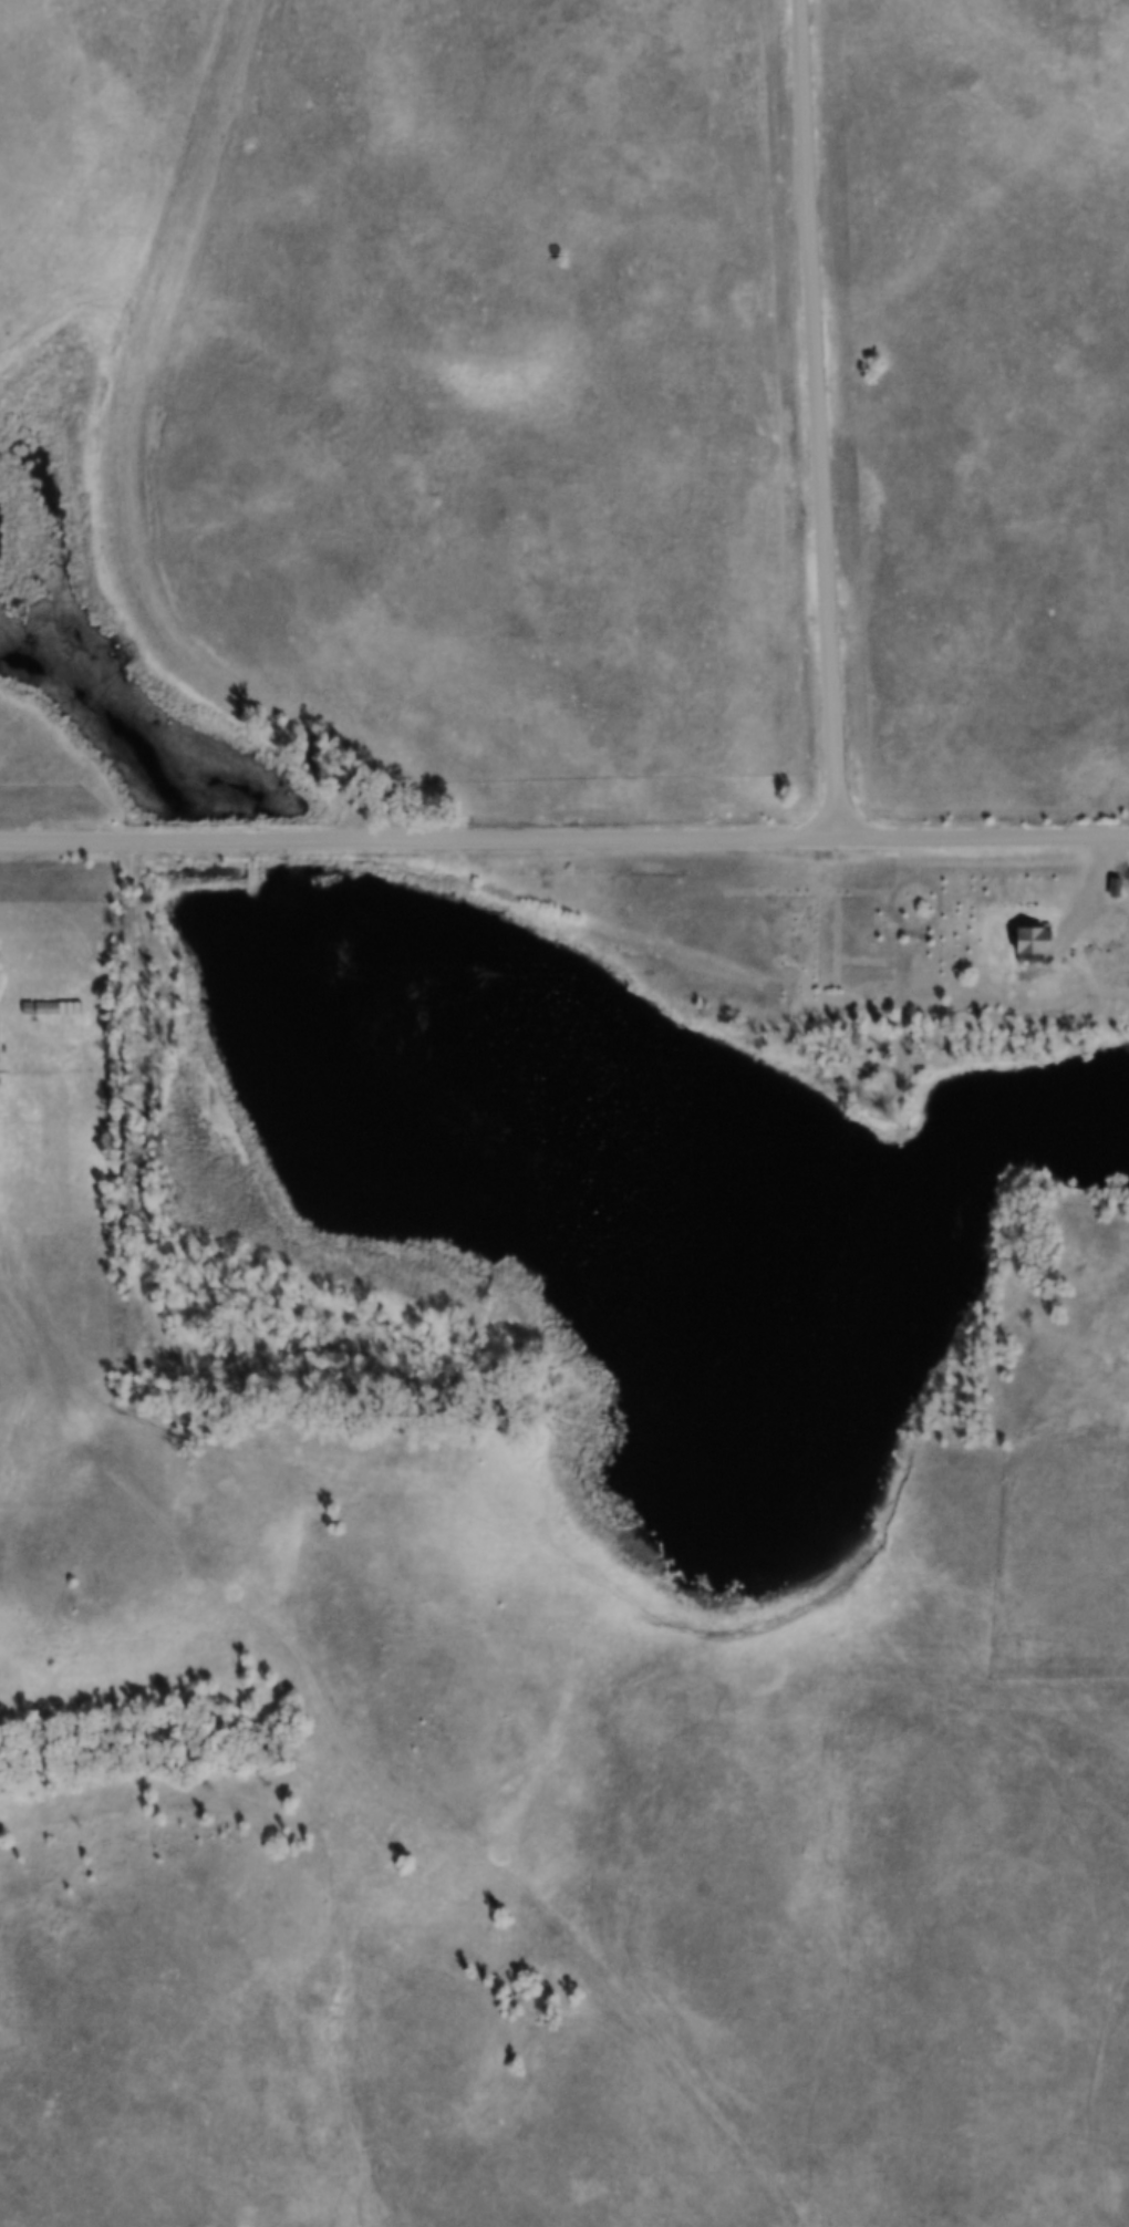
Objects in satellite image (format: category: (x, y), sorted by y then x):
road: (821, 416)
road: (564, 841)
road: (1118, 868)
building: (1029, 946)
building: (51, 1009)
road: (141, 1288)

